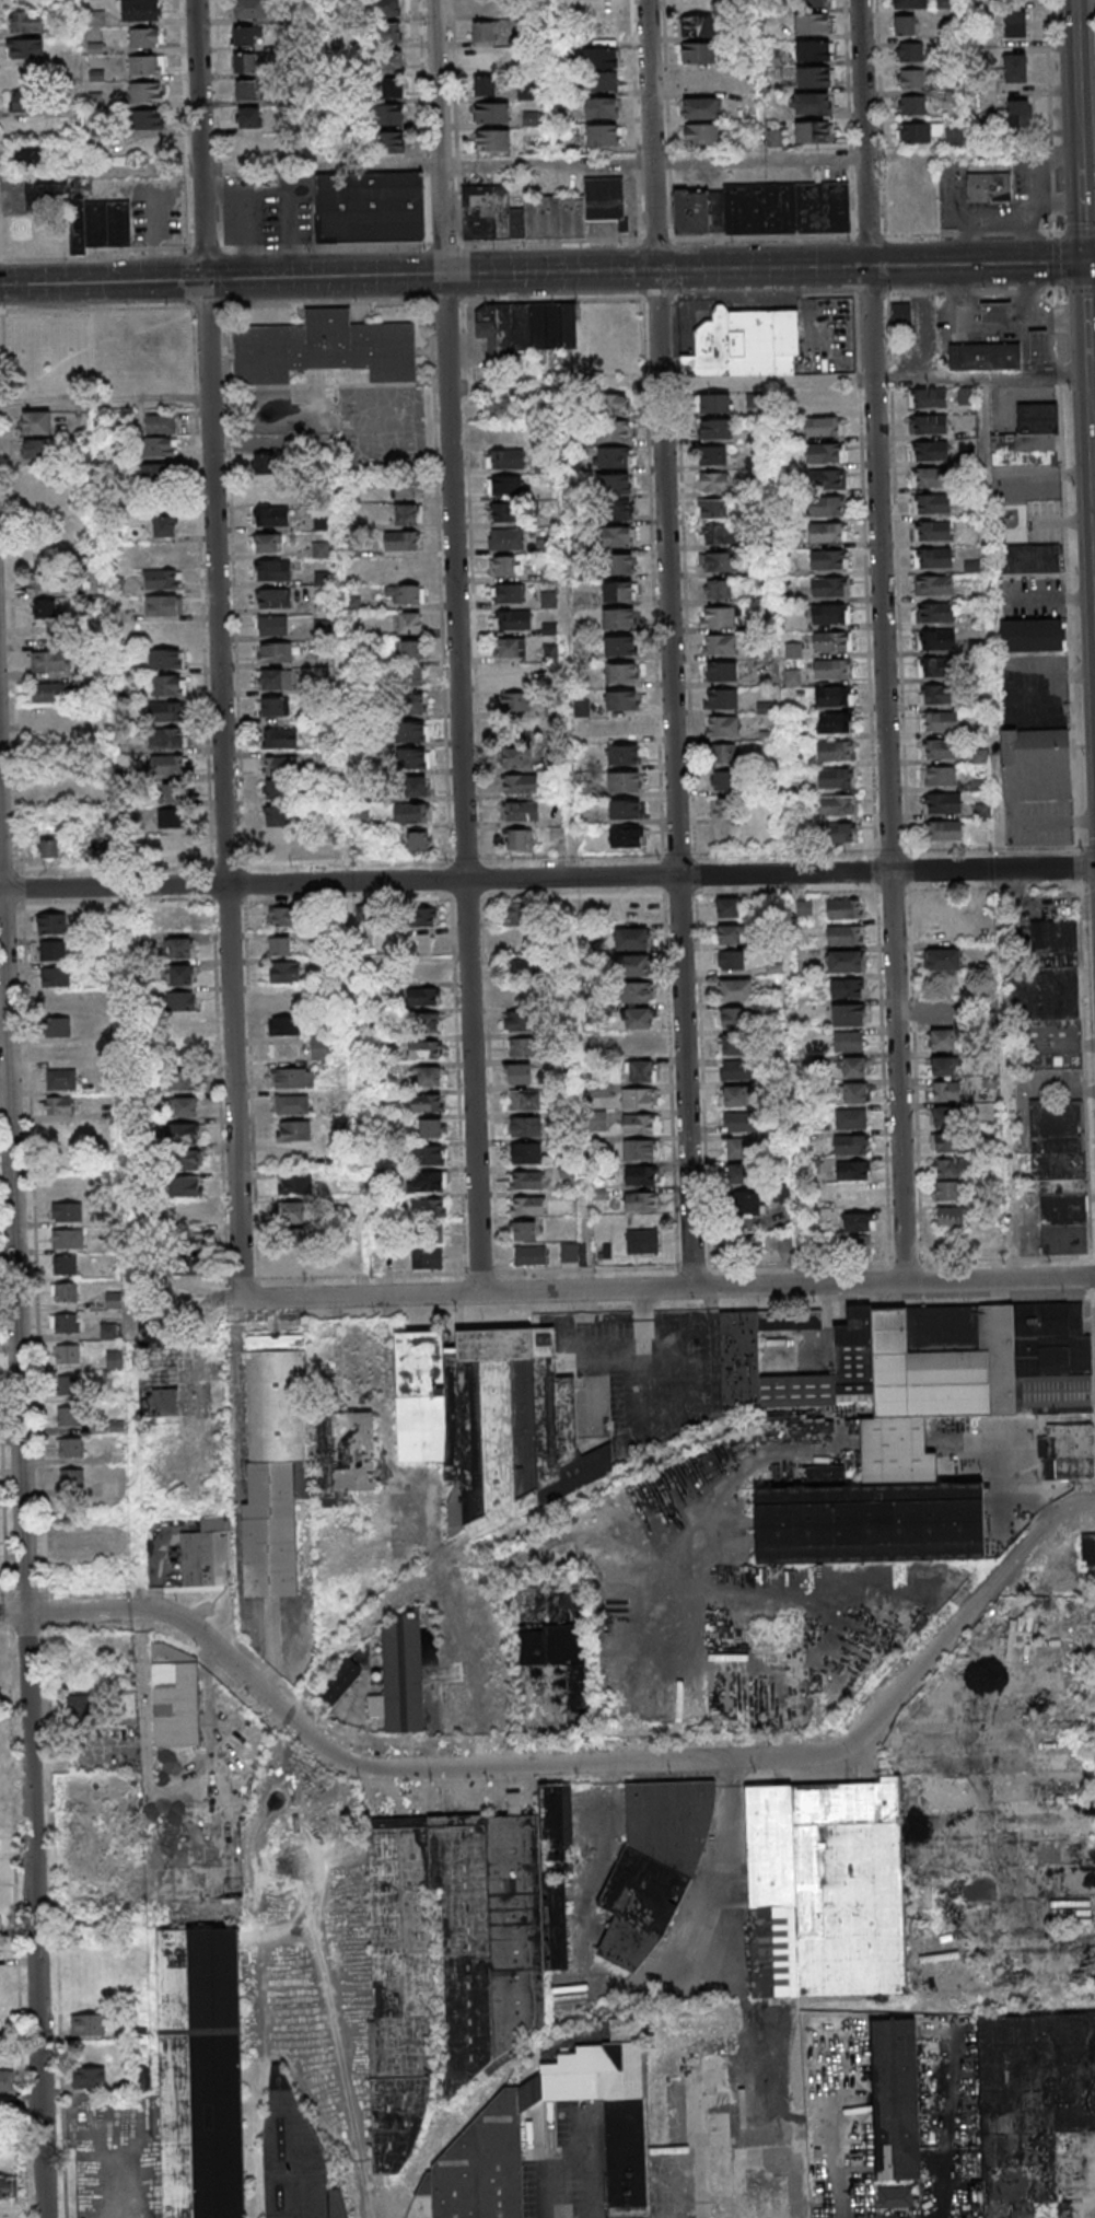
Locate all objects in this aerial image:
building: (909, 3)
building: (946, 3)
building: (487, 7)
building: (385, 8)
building: (599, 8)
building: (244, 9)
building: (140, 11)
building: (26, 22)
building: (811, 24)
building: (905, 24)
building: (1015, 24)
building: (697, 26)
building: (484, 33)
building: (384, 34)
building: (244, 36)
building: (144, 39)
building: (25, 48)
building: (813, 50)
building: (910, 51)
building: (698, 54)
building: (601, 58)
building: (488, 60)
building: (392, 61)
building: (245, 65)
building: (145, 67)
building: (1014, 68)
road: (970, 76)
building: (814, 77)
building: (911, 78)
building: (604, 81)
building: (699, 81)
building: (393, 88)
building: (485, 88)
building: (246, 91)
building: (526, 92)
building: (145, 94)
building: (26, 102)
building: (809, 103)
building: (911, 105)
building: (601, 107)
building: (700, 109)
building: (492, 113)
building: (1018, 114)
building: (387, 115)
road: (1051, 116)
building: (248, 118)
road: (850, 118)
road: (638, 119)
building: (145, 120)
building: (812, 131)
building: (916, 133)
building: (602, 135)
building: (701, 135)
building: (955, 137)
building: (774, 139)
building: (493, 140)
building: (391, 141)
building: (743, 143)
road: (875, 153)
building: (27, 155)
road: (548, 164)
road: (220, 170)
building: (987, 188)
building: (372, 206)
building: (761, 209)
building: (541, 211)
building: (65, 220)
road: (1079, 232)
road: (1060, 233)
road: (745, 237)
road: (1088, 254)
traffic signals: (1090, 260)
road: (1058, 262)
road: (547, 272)
traffic signals: (205, 279)
building: (999, 311)
building: (900, 313)
road: (1056, 313)
building: (525, 327)
road: (991, 329)
building: (745, 344)
building: (1040, 345)
building: (324, 348)
road: (1024, 352)
building: (987, 356)
road: (769, 380)
road: (105, 396)
building: (966, 396)
building: (822, 399)
building: (928, 399)
building: (714, 403)
building: (615, 404)
building: (505, 407)
building: (36, 422)
building: (161, 425)
road: (895, 425)
building: (929, 426)
building: (823, 427)
building: (714, 428)
building: (613, 431)
building: (1028, 438)
road: (252, 441)
building: (160, 448)
building: (36, 449)
building: (825, 452)
building: (930, 452)
building: (713, 454)
building: (613, 456)
building: (505, 460)
building: (265, 465)
building: (155, 474)
building: (929, 478)
building: (829, 479)
building: (713, 481)
building: (614, 483)
building: (505, 486)
building: (406, 488)
building: (827, 504)
building: (931, 504)
building: (713, 508)
building: (618, 510)
building: (504, 513)
building: (408, 514)
building: (272, 516)
building: (321, 523)
building: (163, 526)
building: (827, 532)
building: (931, 532)
building: (718, 534)
building: (618, 536)
building: (506, 539)
building: (398, 541)
building: (266, 543)
building: (544, 546)
building: (321, 549)
building: (932, 558)
building: (1027, 558)
building: (828, 559)
building: (718, 562)
building: (621, 564)
building: (503, 566)
building: (971, 567)
building: (408, 568)
building: (272, 570)
building: (162, 579)
building: (322, 579)
building: (43, 582)
building: (933, 584)
building: (829, 587)
building: (717, 591)
building: (619, 592)
building: (404, 593)
building: (506, 593)
building: (272, 597)
building: (548, 600)
building: (163, 605)
building: (44, 608)
building: (934, 612)
building: (829, 614)
building: (717, 618)
building: (618, 619)
building: (512, 620)
building: (410, 623)
building: (271, 626)
building: (321, 629)
building: (1032, 635)
building: (935, 639)
road: (886, 641)
building: (832, 642)
road: (672, 643)
road: (459, 646)
building: (719, 646)
building: (510, 647)
building: (619, 647)
building: (410, 650)
building: (275, 653)
road: (222, 655)
building: (165, 658)
building: (49, 660)
building: (933, 666)
building: (831, 670)
building: (721, 672)
building: (620, 674)
building: (412, 675)
building: (512, 675)
building: (275, 681)
building: (167, 684)
building: (50, 692)
building: (936, 694)
building: (834, 696)
building: (720, 700)
building: (620, 701)
building: (514, 702)
building: (412, 704)
building: (273, 707)
building: (581, 709)
road: (345, 710)
building: (164, 711)
building: (937, 722)
building: (831, 723)
building: (722, 727)
building: (622, 728)
building: (411, 731)
building: (167, 739)
building: (280, 739)
building: (940, 748)
building: (835, 751)
building: (624, 754)
building: (723, 754)
building: (513, 757)
building: (412, 758)
building: (1039, 764)
building: (167, 765)
building: (280, 766)
building: (937, 776)
building: (835, 778)
building: (625, 781)
building: (724, 781)
building: (519, 785)
building: (415, 786)
building: (275, 790)
building: (170, 794)
building: (942, 802)
building: (836, 806)
building: (625, 809)
building: (723, 809)
building: (985, 810)
building: (519, 812)
building: (412, 813)
building: (276, 816)
building: (171, 820)
road: (998, 828)
building: (942, 829)
building: (838, 833)
building: (626, 837)
road: (573, 838)
building: (418, 840)
building: (516, 841)
building: (277, 843)
building: (173, 847)
building: (361, 847)
building: (49, 848)
road: (547, 879)
building: (770, 904)
building: (727, 907)
building: (843, 908)
building: (630, 913)
building: (517, 914)
building: (281, 916)
building: (422, 916)
building: (366, 918)
building: (50, 924)
road: (117, 925)
building: (729, 933)
building: (844, 934)
building: (631, 940)
building: (279, 945)
building: (179, 948)
building: (53, 950)
building: (731, 960)
building: (844, 961)
building: (942, 961)
building: (632, 966)
building: (522, 967)
building: (283, 971)
building: (180, 974)
building: (1046, 974)
building: (55, 976)
building: (846, 988)
building: (735, 989)
building: (636, 992)
building: (422, 997)
building: (182, 1000)
building: (848, 1014)
building: (943, 1014)
building: (734, 1017)
building: (639, 1019)
building: (517, 1021)
building: (426, 1023)
building: (283, 1025)
building: (56, 1026)
building: (183, 1027)
road: (793, 1038)
building: (849, 1041)
building: (941, 1041)
building: (734, 1044)
building: (641, 1045)
building: (520, 1047)
building: (319, 1048)
building: (424, 1050)
building: (189, 1055)
building: (1042, 1061)
building: (853, 1067)
building: (943, 1067)
building: (737, 1069)
building: (640, 1070)
building: (519, 1073)
building: (426, 1077)
building: (292, 1078)
building: (60, 1079)
building: (184, 1080)
building: (945, 1092)
building: (854, 1093)
building: (737, 1095)
building: (638, 1098)
building: (524, 1099)
building: (290, 1104)
building: (426, 1104)
building: (58, 1105)
building: (184, 1106)
building: (597, 1115)
building: (944, 1116)
building: (850, 1119)
building: (741, 1120)
building: (640, 1124)
building: (525, 1126)
building: (430, 1128)
building: (293, 1130)
building: (183, 1133)
building: (942, 1142)
building: (851, 1143)
building: (741, 1148)
building: (640, 1149)
building: (526, 1152)
building: (428, 1154)
building: (187, 1160)
building: (950, 1169)
building: (852, 1170)
building: (737, 1173)
building: (640, 1175)
building: (1060, 1176)
building: (526, 1180)
building: (429, 1181)
building: (295, 1183)
building: (186, 1187)
building: (945, 1191)
building: (782, 1193)
building: (854, 1195)
building: (642, 1201)
building: (747, 1203)
building: (527, 1205)
building: (429, 1207)
building: (293, 1211)
building: (70, 1213)
building: (950, 1218)
building: (858, 1222)
building: (524, 1231)
building: (428, 1232)
building: (292, 1235)
building: (71, 1240)
building: (641, 1241)
building: (860, 1243)
building: (745, 1244)
road: (362, 1247)
building: (189, 1253)
building: (569, 1253)
building: (531, 1256)
building: (427, 1258)
building: (68, 1266)
road: (679, 1288)
building: (68, 1293)
building: (69, 1324)
building: (109, 1331)
building: (854, 1354)
building: (71, 1356)
building: (114, 1360)
building: (159, 1365)
building: (994, 1372)
road: (236, 1374)
building: (71, 1386)
building: (279, 1398)
building: (72, 1417)
building: (493, 1424)
building: (74, 1449)
building: (897, 1453)
building: (343, 1455)
road: (24, 1461)
building: (825, 1473)
building: (74, 1480)
building: (873, 1524)
building: (271, 1531)
building: (118, 1541)
building: (74, 1542)
building: (207, 1555)
building: (1090, 1557)
road: (163, 1613)
building: (558, 1639)
building: (405, 1675)
building: (341, 1681)
building: (178, 1698)
building: (79, 1706)
road: (735, 1758)
road: (161, 1795)
building: (672, 1823)
building: (558, 1832)
building: (828, 1891)
building: (641, 1909)
building: (0, 1920)
building: (556, 1926)
building: (451, 1960)
road: (639, 1978)
building: (88, 2024)
building: (207, 2072)
building: (89, 2078)
building: (4, 2080)
building: (899, 2102)
building: (1034, 2104)
building: (611, 2114)
building: (298, 2161)
building: (485, 2165)
building: (8, 2187)
road: (597, 2190)
building: (898, 2199)

